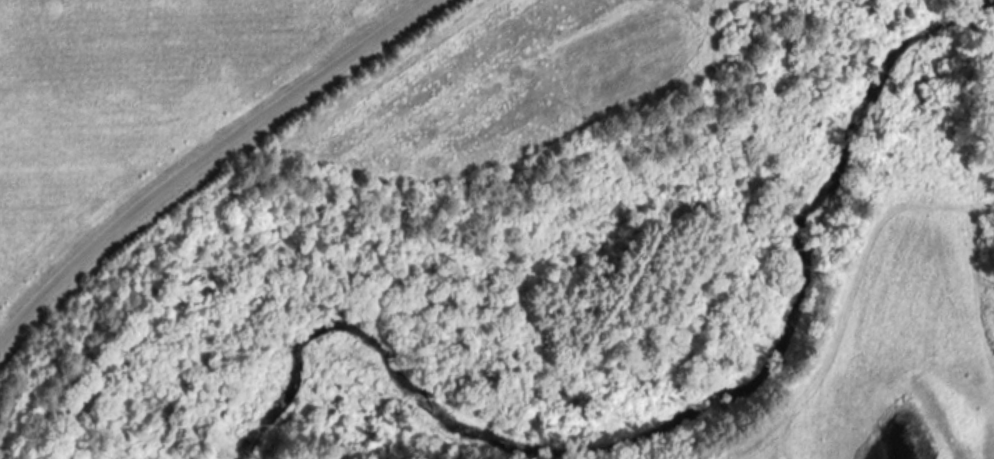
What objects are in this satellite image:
road: (199, 153)
river: (675, 421)

